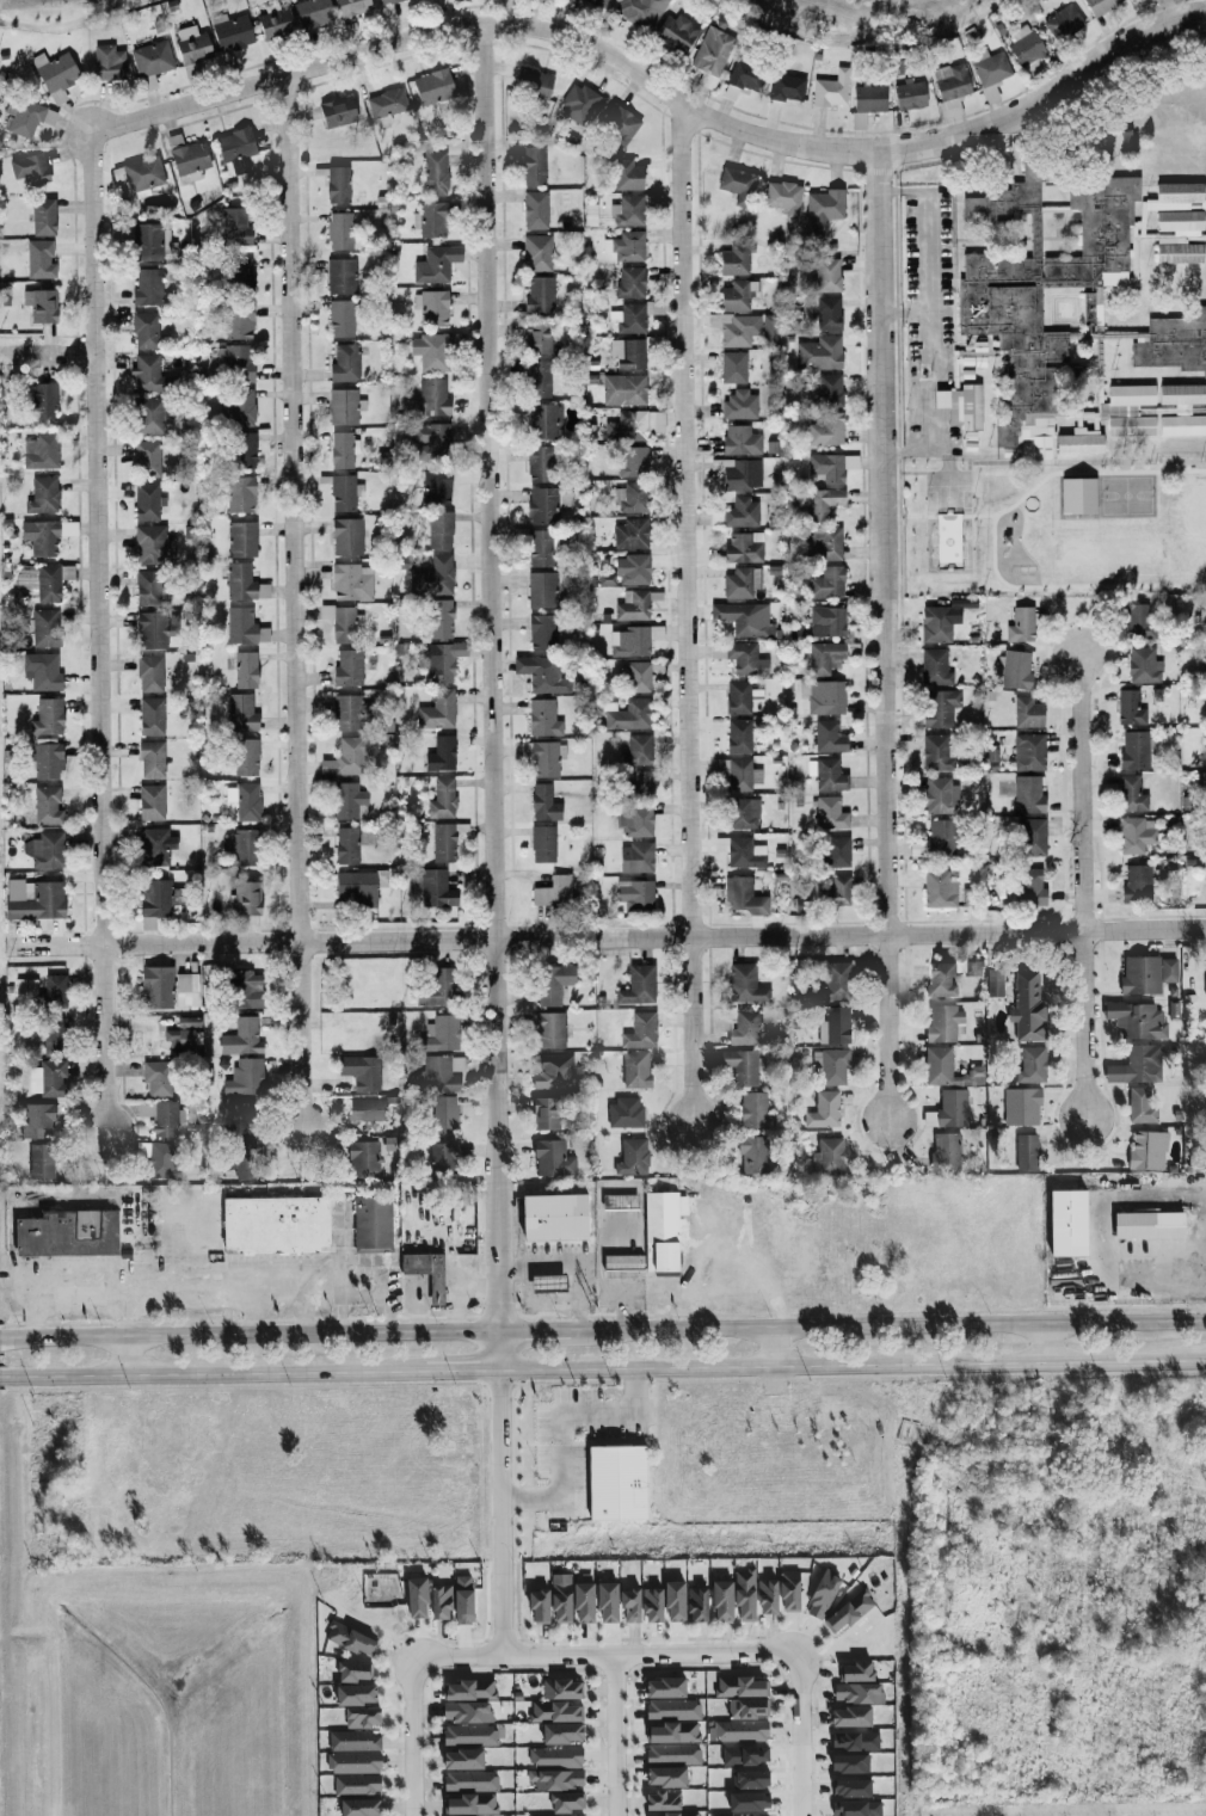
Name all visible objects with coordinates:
building: (386, 1)
building: (595, 2)
building: (1099, 6)
building: (351, 7)
building: (640, 11)
building: (312, 12)
building: (275, 23)
building: (1062, 23)
building: (230, 31)
building: (675, 33)
building: (191, 44)
building: (1026, 50)
building: (710, 55)
building: (150, 59)
building: (107, 62)
building: (989, 70)
building: (54, 73)
building: (533, 82)
building: (432, 86)
building: (786, 87)
building: (949, 87)
road: (658, 90)
building: (830, 90)
building: (909, 94)
building: (868, 99)
building: (577, 103)
building: (386, 105)
building: (336, 111)
building: (26, 117)
building: (619, 124)
building: (235, 148)
building: (189, 158)
building: (533, 165)
building: (27, 166)
building: (142, 173)
building: (435, 173)
building: (626, 174)
building: (337, 184)
building: (737, 185)
building: (782, 196)
building: (823, 209)
building: (534, 210)
building: (627, 210)
building: (42, 216)
building: (431, 218)
building: (233, 227)
building: (339, 230)
building: (148, 241)
building: (626, 246)
building: (536, 252)
building: (38, 259)
building: (734, 259)
building: (435, 264)
building: (240, 275)
building: (826, 275)
building: (340, 276)
building: (629, 282)
building: (146, 288)
building: (539, 295)
building: (737, 296)
building: (1040, 302)
building: (39, 304)
building: (432, 308)
road: (906, 310)
building: (827, 313)
building: (340, 318)
building: (628, 318)
road: (929, 318)
building: (239, 320)
building: (734, 328)
building: (143, 330)
road: (45, 336)
building: (536, 337)
building: (1174, 343)
building: (432, 351)
building: (627, 352)
building: (818, 353)
road: (44, 355)
building: (236, 363)
building: (344, 363)
building: (732, 367)
building: (147, 374)
building: (537, 380)
building: (623, 389)
building: (829, 389)
building: (431, 398)
building: (42, 400)
building: (738, 405)
building: (960, 405)
building: (343, 406)
building: (241, 407)
building: (1181, 410)
building: (149, 414)
building: (542, 421)
building: (633, 425)
building: (825, 430)
building: (432, 433)
building: (739, 441)
building: (1078, 443)
building: (342, 449)
building: (39, 450)
building: (242, 450)
building: (146, 458)
building: (632, 461)
building: (539, 463)
building: (830, 467)
building: (438, 488)
building: (343, 492)
building: (41, 494)
building: (239, 494)
building: (1076, 495)
building: (632, 498)
building: (146, 501)
building: (822, 503)
building: (541, 505)
building: (740, 512)
building: (439, 530)
building: (630, 534)
building: (38, 536)
building: (346, 536)
building: (241, 538)
building: (823, 543)
building: (152, 544)
building: (743, 547)
building: (540, 548)
building: (630, 570)
building: (432, 577)
building: (44, 579)
building: (351, 581)
building: (740, 581)
building: (242, 583)
building: (825, 583)
building: (147, 586)
building: (541, 590)
road: (289, 603)
building: (632, 605)
road: (689, 616)
building: (743, 617)
building: (439, 618)
building: (826, 621)
building: (940, 621)
building: (340, 622)
building: (1139, 622)
building: (240, 624)
building: (1020, 624)
building: (44, 627)
building: (153, 628)
building: (541, 632)
road: (93, 633)
road: (885, 639)
building: (632, 640)
building: (824, 657)
building: (744, 659)
building: (441, 660)
building: (1143, 665)
building: (347, 667)
building: (934, 667)
building: (245, 669)
building: (1015, 669)
building: (43, 671)
building: (148, 672)
building: (542, 672)
building: (638, 676)
road: (488, 678)
building: (823, 696)
building: (737, 697)
building: (939, 708)
building: (1128, 708)
building: (436, 710)
building: (241, 712)
building: (1026, 712)
building: (349, 713)
building: (47, 715)
building: (150, 715)
building: (629, 715)
building: (542, 718)
building: (737, 735)
building: (827, 737)
building: (636, 749)
building: (1134, 749)
building: (1204, 750)
building: (936, 752)
building: (1028, 752)
building: (439, 755)
building: (347, 756)
building: (245, 757)
building: (542, 757)
building: (150, 758)
building: (47, 759)
building: (825, 774)
building: (742, 775)
building: (639, 786)
building: (1027, 794)
building: (1130, 794)
building: (936, 795)
building: (442, 799)
building: (244, 800)
building: (149, 801)
building: (349, 801)
building: (542, 802)
building: (47, 804)
building: (742, 813)
building: (829, 813)
building: (635, 821)
building: (939, 836)
building: (1133, 836)
building: (1030, 837)
building: (442, 842)
building: (541, 843)
building: (345, 845)
building: (154, 847)
building: (241, 847)
building: (44, 849)
building: (740, 851)
building: (833, 851)
building: (635, 857)
building: (1136, 884)
building: (357, 887)
building: (431, 887)
building: (1029, 887)
road: (1083, 887)
building: (937, 889)
building: (552, 892)
building: (833, 892)
building: (633, 895)
building: (742, 895)
building: (159, 898)
building: (246, 898)
building: (32, 899)
road: (609, 937)
building: (972, 968)
building: (1205, 974)
building: (1147, 975)
building: (940, 980)
building: (552, 983)
building: (833, 983)
building: (745, 984)
building: (996, 984)
building: (636, 985)
building: (155, 986)
building: (185, 989)
building: (246, 989)
building: (436, 989)
building: (54, 991)
building: (1028, 1009)
building: (1139, 1022)
building: (946, 1024)
building: (836, 1027)
building: (745, 1028)
building: (548, 1029)
building: (639, 1030)
building: (183, 1033)
building: (441, 1034)
building: (53, 1035)
building: (241, 1038)
building: (1033, 1066)
building: (743, 1067)
building: (835, 1067)
building: (1138, 1067)
building: (949, 1070)
building: (361, 1071)
building: (636, 1071)
building: (552, 1072)
building: (441, 1073)
building: (45, 1077)
building: (155, 1077)
building: (245, 1077)
building: (1142, 1107)
building: (1025, 1108)
building: (365, 1109)
building: (825, 1112)
building: (949, 1112)
building: (241, 1113)
building: (756, 1113)
building: (547, 1114)
building: (626, 1114)
building: (447, 1115)
building: (161, 1116)
building: (37, 1121)
building: (947, 1151)
building: (1149, 1152)
building: (1028, 1153)
building: (755, 1156)
building: (444, 1158)
building: (550, 1158)
building: (634, 1158)
building: (829, 1158)
building: (364, 1159)
building: (43, 1162)
building: (246, 1162)
building: (622, 1204)
building: (556, 1218)
building: (1069, 1224)
building: (374, 1225)
building: (277, 1226)
building: (1150, 1226)
building: (664, 1231)
building: (69, 1235)
building: (626, 1263)
road: (539, 1264)
road: (599, 1267)
road: (1175, 1273)
building: (427, 1274)
road: (367, 1275)
road: (579, 1283)
building: (549, 1285)
road: (167, 1286)
road: (456, 1291)
road: (534, 1301)
road: (251, 1312)
road: (547, 1317)
road: (580, 1317)
road: (888, 1328)
road: (535, 1334)
road: (253, 1337)
road: (5, 1342)
road: (1047, 1343)
road: (773, 1348)
road: (124, 1359)
road: (851, 1365)
road: (462, 1372)
road: (219, 1375)
road: (5, 1379)
road: (561, 1435)
building: (619, 1484)
road: (499, 1496)
building: (790, 1593)
building: (746, 1595)
building: (824, 1595)
building: (769, 1598)
building: (418, 1599)
building: (562, 1600)
building: (724, 1601)
building: (609, 1602)
building: (676, 1602)
building: (442, 1603)
building: (585, 1605)
building: (653, 1606)
building: (699, 1606)
building: (632, 1607)
building: (540, 1608)
building: (849, 1613)
building: (351, 1640)
road: (603, 1658)
building: (356, 1673)
building: (856, 1673)
building: (666, 1688)
building: (740, 1688)
building: (468, 1691)
building: (562, 1691)
road: (795, 1693)
building: (859, 1694)
building: (357, 1697)
building: (747, 1710)
building: (673, 1711)
building: (468, 1713)
building: (554, 1713)
building: (364, 1718)
building: (851, 1718)
building: (742, 1732)
building: (672, 1734)
building: (564, 1735)
building: (470, 1736)
road: (412, 1737)
road: (610, 1737)
building: (356, 1742)
building: (675, 1755)
building: (555, 1757)
building: (463, 1760)
building: (353, 1763)
road: (796, 1773)
building: (667, 1778)
building: (558, 1780)
building: (472, 1783)
building: (358, 1786)
building: (664, 1802)
building: (567, 1804)
building: (472, 1805)
building: (802, 1806)
building: (362, 1808)
building: (677, 1815)

